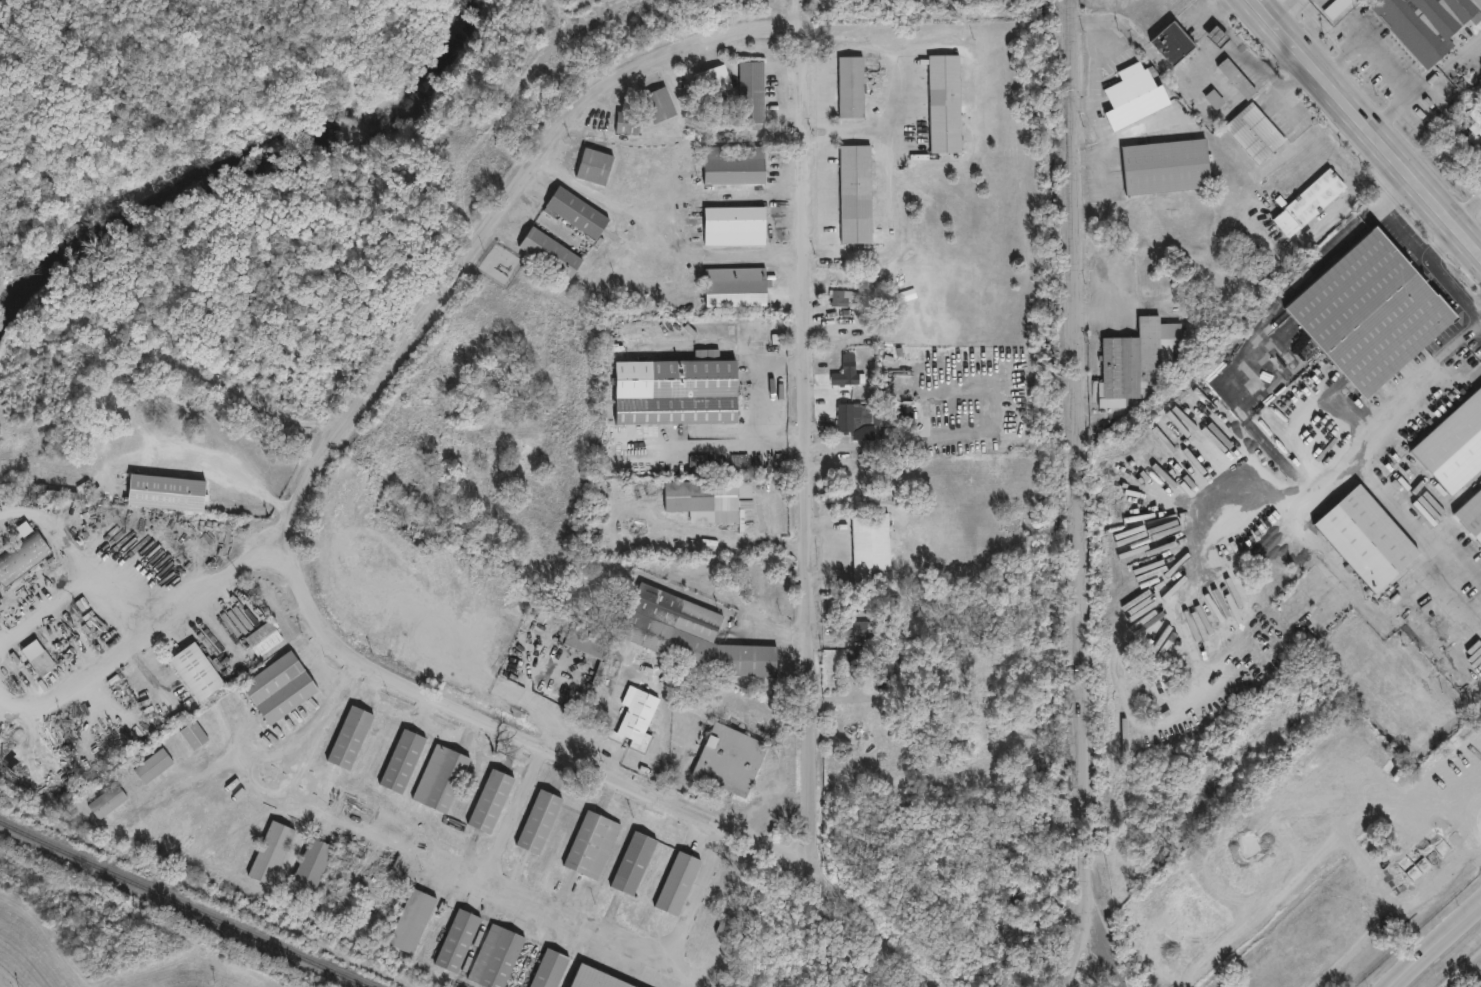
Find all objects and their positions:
road: (1281, 9)
building: (1216, 36)
road: (1233, 37)
building: (1172, 42)
road: (1277, 58)
road: (1092, 60)
road: (1157, 61)
road: (1387, 68)
building: (713, 80)
building: (851, 87)
road: (1287, 87)
building: (752, 91)
building: (1135, 95)
building: (1213, 98)
building: (659, 103)
building: (944, 104)
road: (898, 109)
road: (819, 121)
building: (627, 122)
road: (1139, 126)
road: (1367, 128)
road: (846, 131)
road: (1105, 143)
building: (734, 164)
building: (594, 166)
building: (1165, 166)
river: (247, 169)
road: (1101, 173)
building: (856, 193)
road: (1466, 208)
building: (577, 212)
building: (735, 225)
road: (1401, 230)
road: (1440, 242)
road: (654, 243)
building: (550, 252)
road: (460, 262)
building: (736, 286)
road: (1453, 289)
building: (841, 298)
building: (1135, 359)
building: (847, 372)
building: (676, 391)
road: (767, 395)
building: (847, 416)
building: (884, 425)
road: (1252, 427)
road: (803, 435)
road: (227, 471)
building: (850, 476)
building: (166, 492)
road: (1080, 495)
building: (709, 500)
road: (1413, 528)
building: (1365, 537)
building: (871, 546)
building: (23, 553)
building: (855, 629)
road: (149, 632)
building: (690, 635)
building: (264, 637)
building: (586, 640)
building: (38, 657)
building: (196, 670)
building: (886, 671)
road: (369, 680)
building: (280, 686)
road: (417, 707)
road: (405, 714)
building: (635, 717)
road: (466, 728)
building: (194, 734)
building: (350, 736)
building: (730, 759)
road: (288, 760)
building: (402, 760)
building: (154, 765)
building: (441, 777)
road: (643, 794)
building: (107, 800)
building: (490, 800)
building: (539, 821)
road: (1478, 829)
building: (592, 843)
building: (1431, 847)
building: (271, 852)
building: (633, 862)
building: (310, 869)
building: (678, 883)
railway: (184, 905)
road: (571, 918)
building: (412, 920)
building: (723, 925)
building: (457, 940)
road: (1105, 940)
landfill: (93, 943)
road: (1432, 943)
building: (496, 957)
building: (549, 968)
building: (594, 979)

